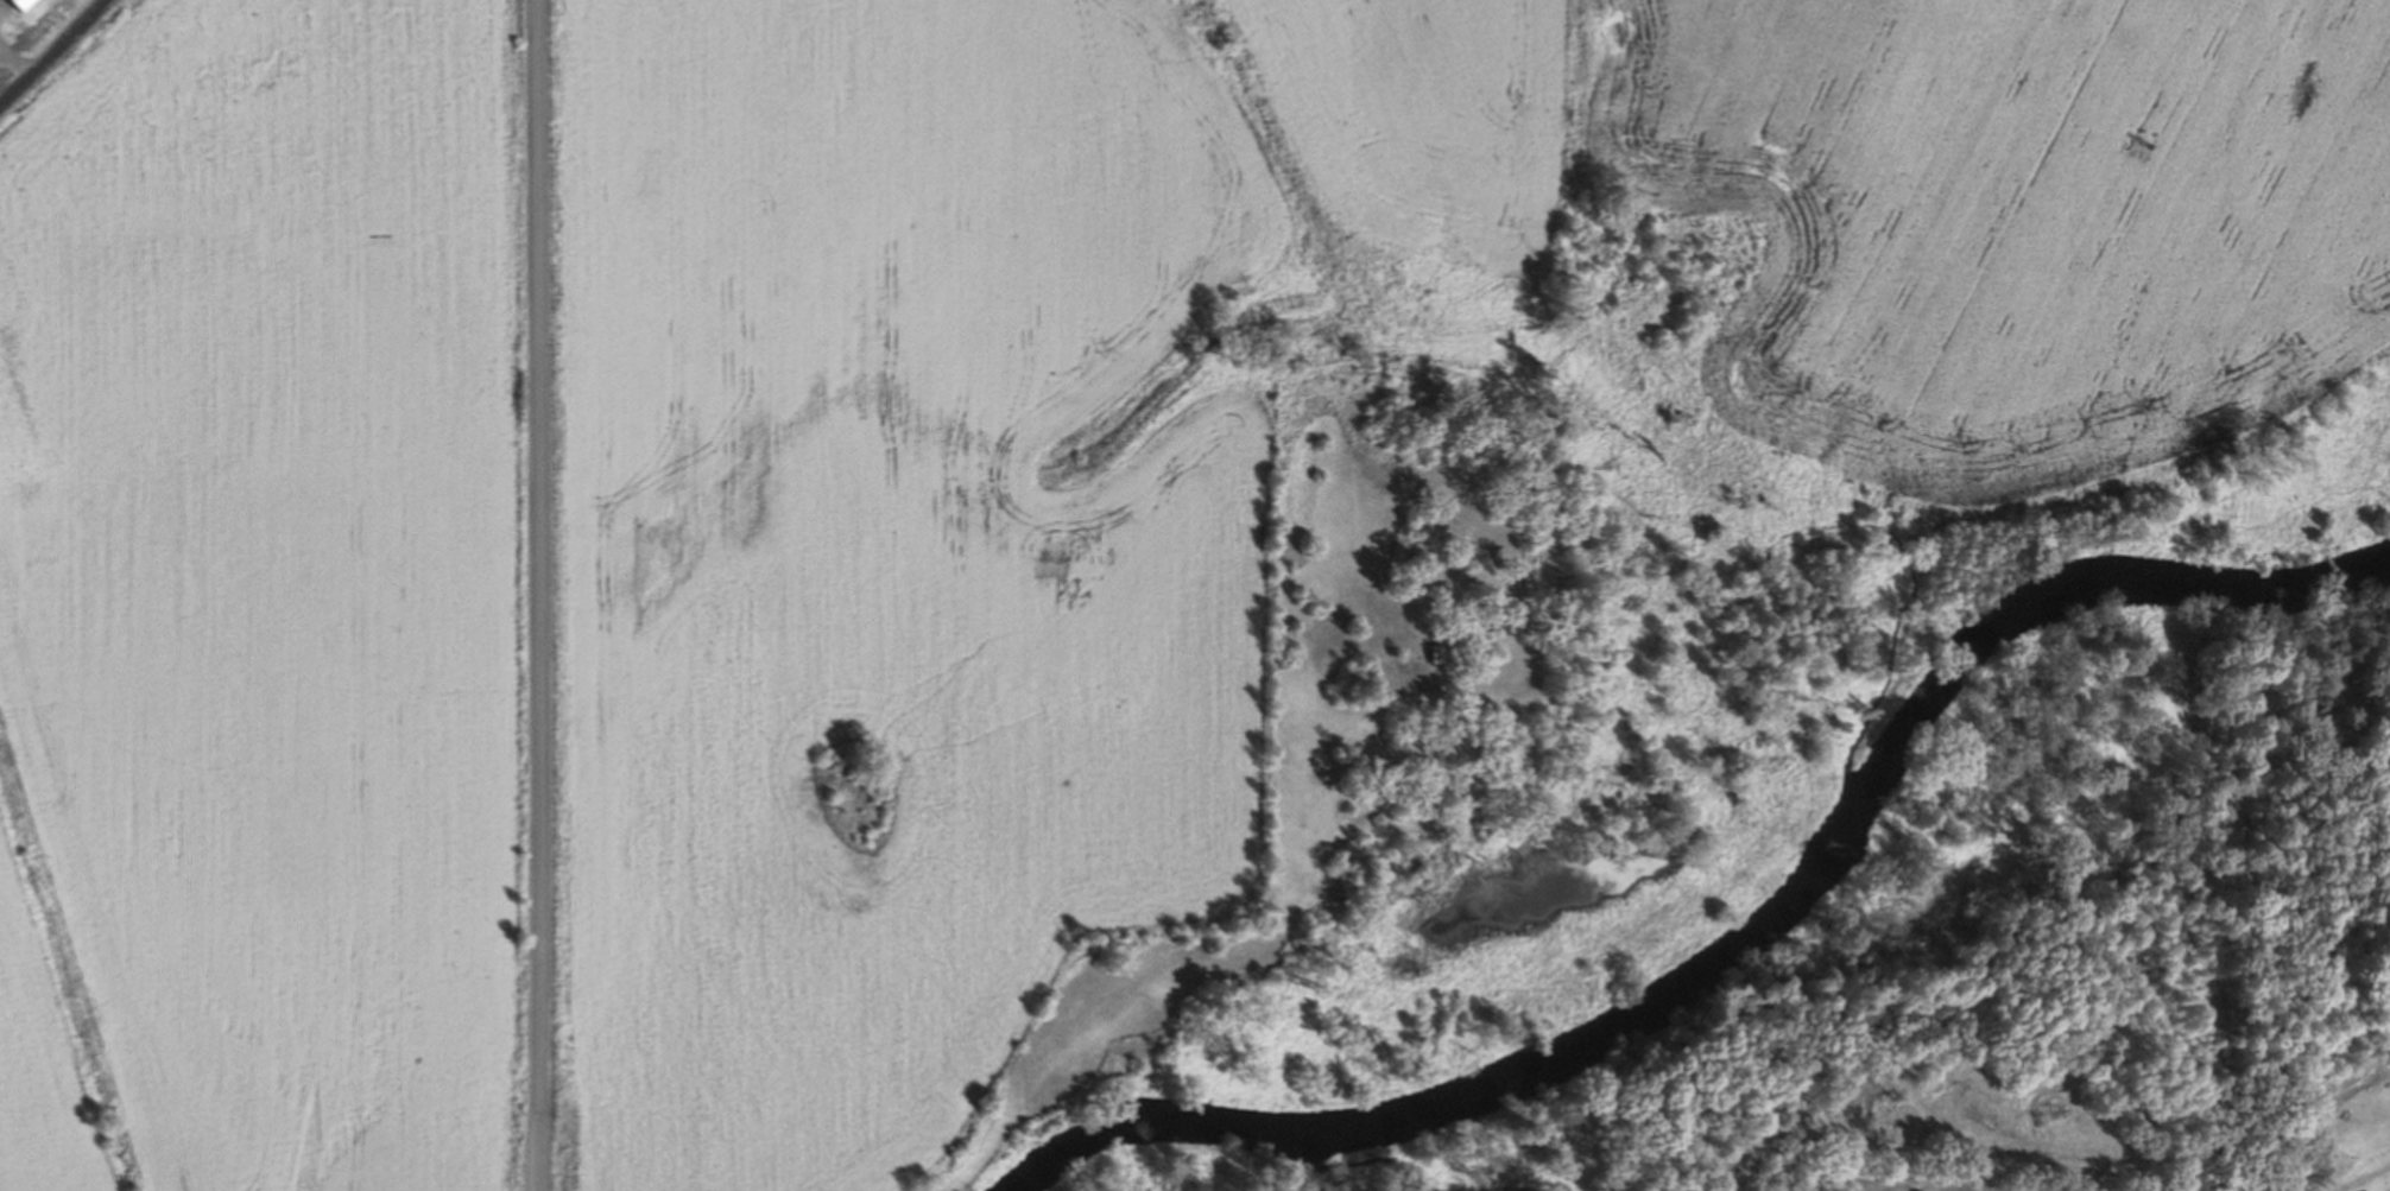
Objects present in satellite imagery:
building: (23, 1)
road: (53, 51)
road: (537, 595)
river: (1753, 943)

